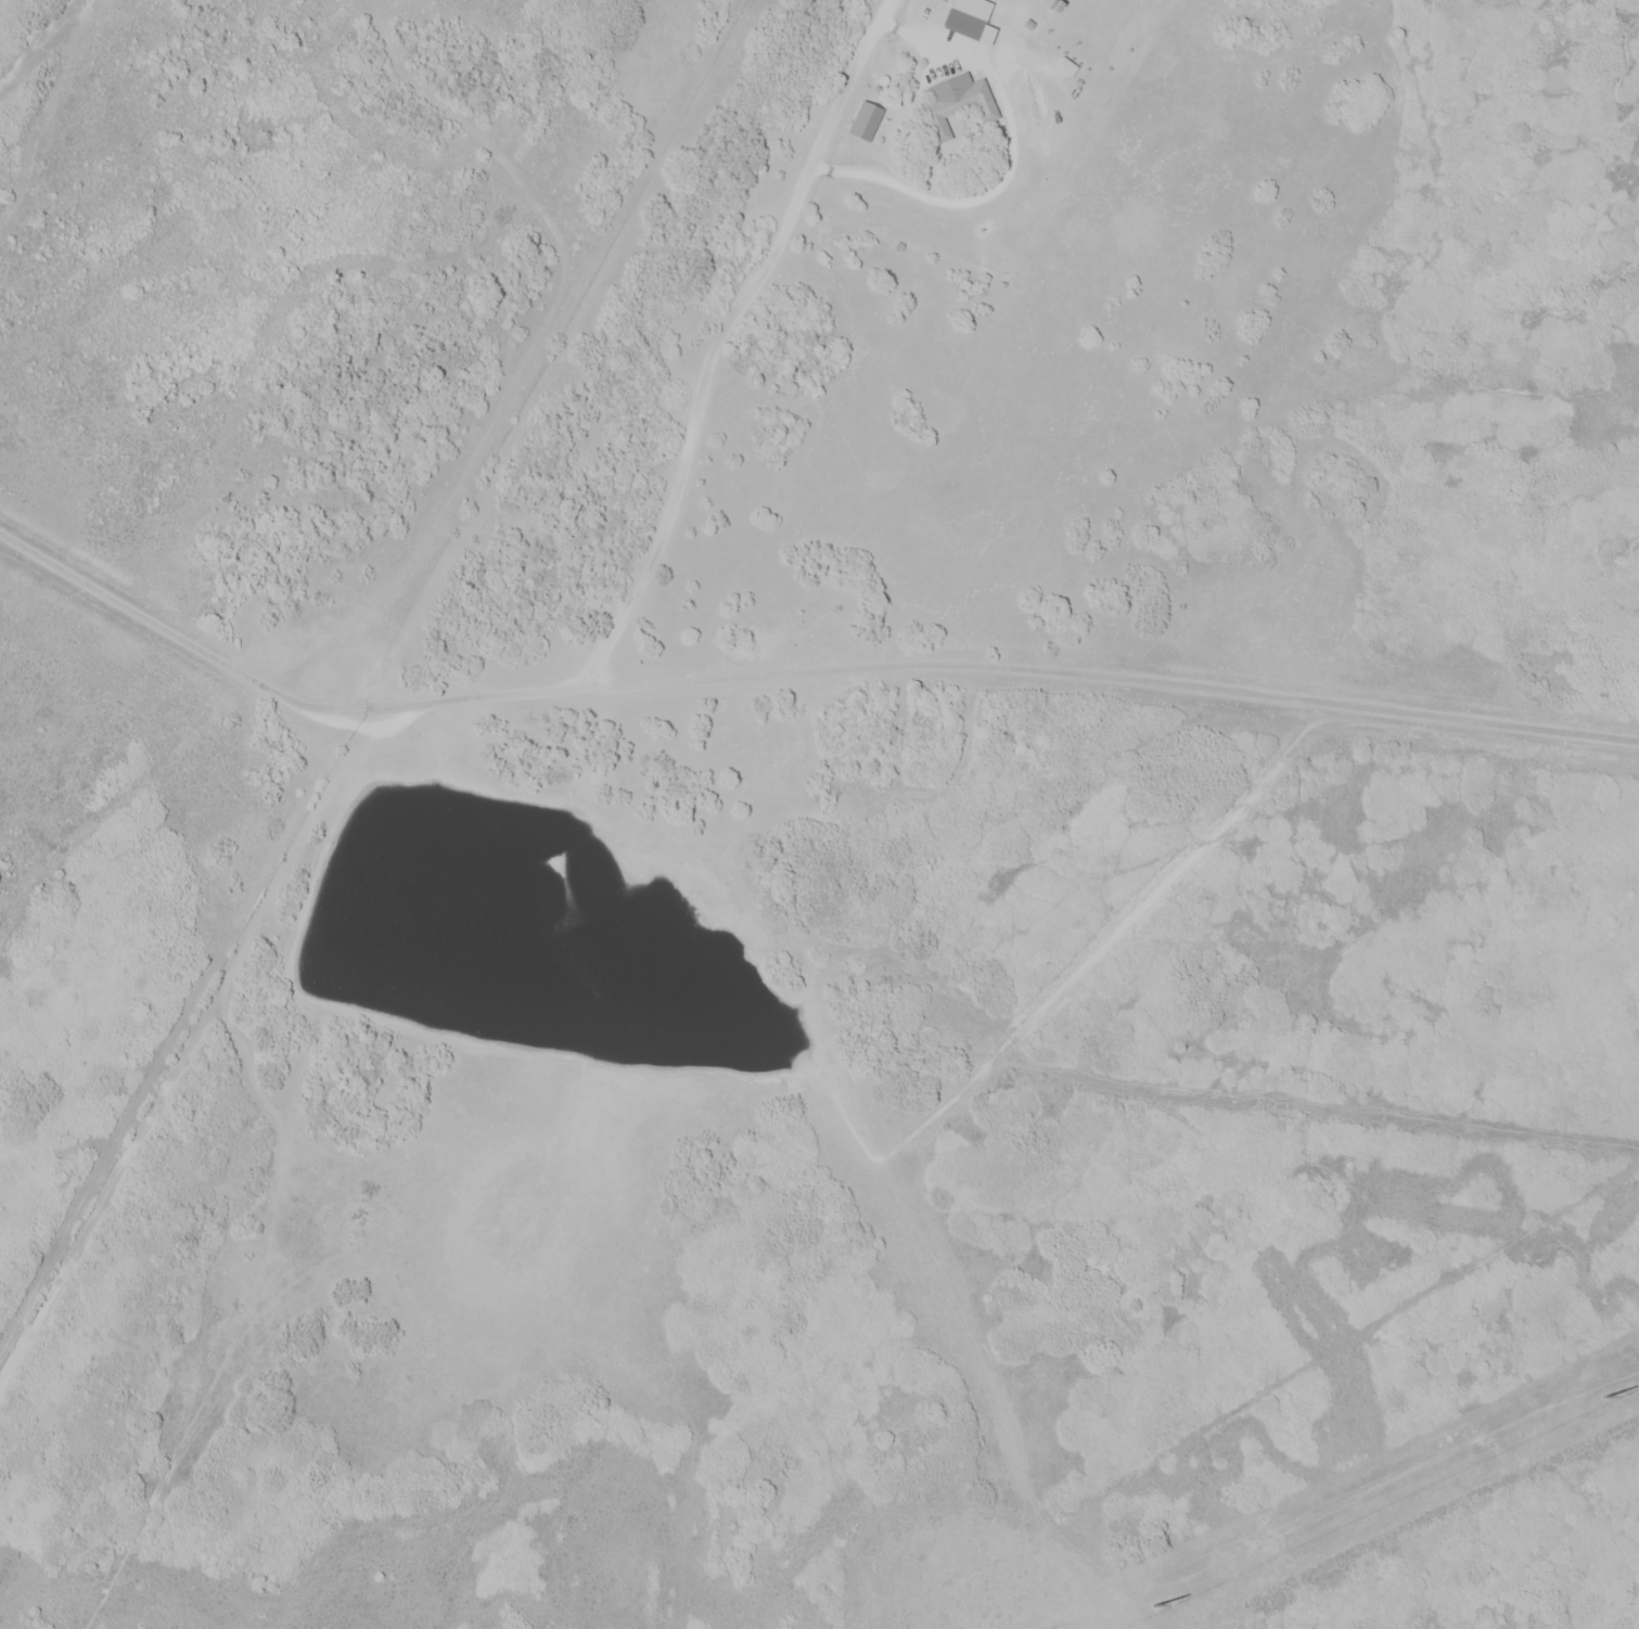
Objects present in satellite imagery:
building: (968, 18)
building: (957, 105)
road: (641, 628)
road: (1118, 659)
power tower: (1605, 1397)
power tower: (1154, 1604)

